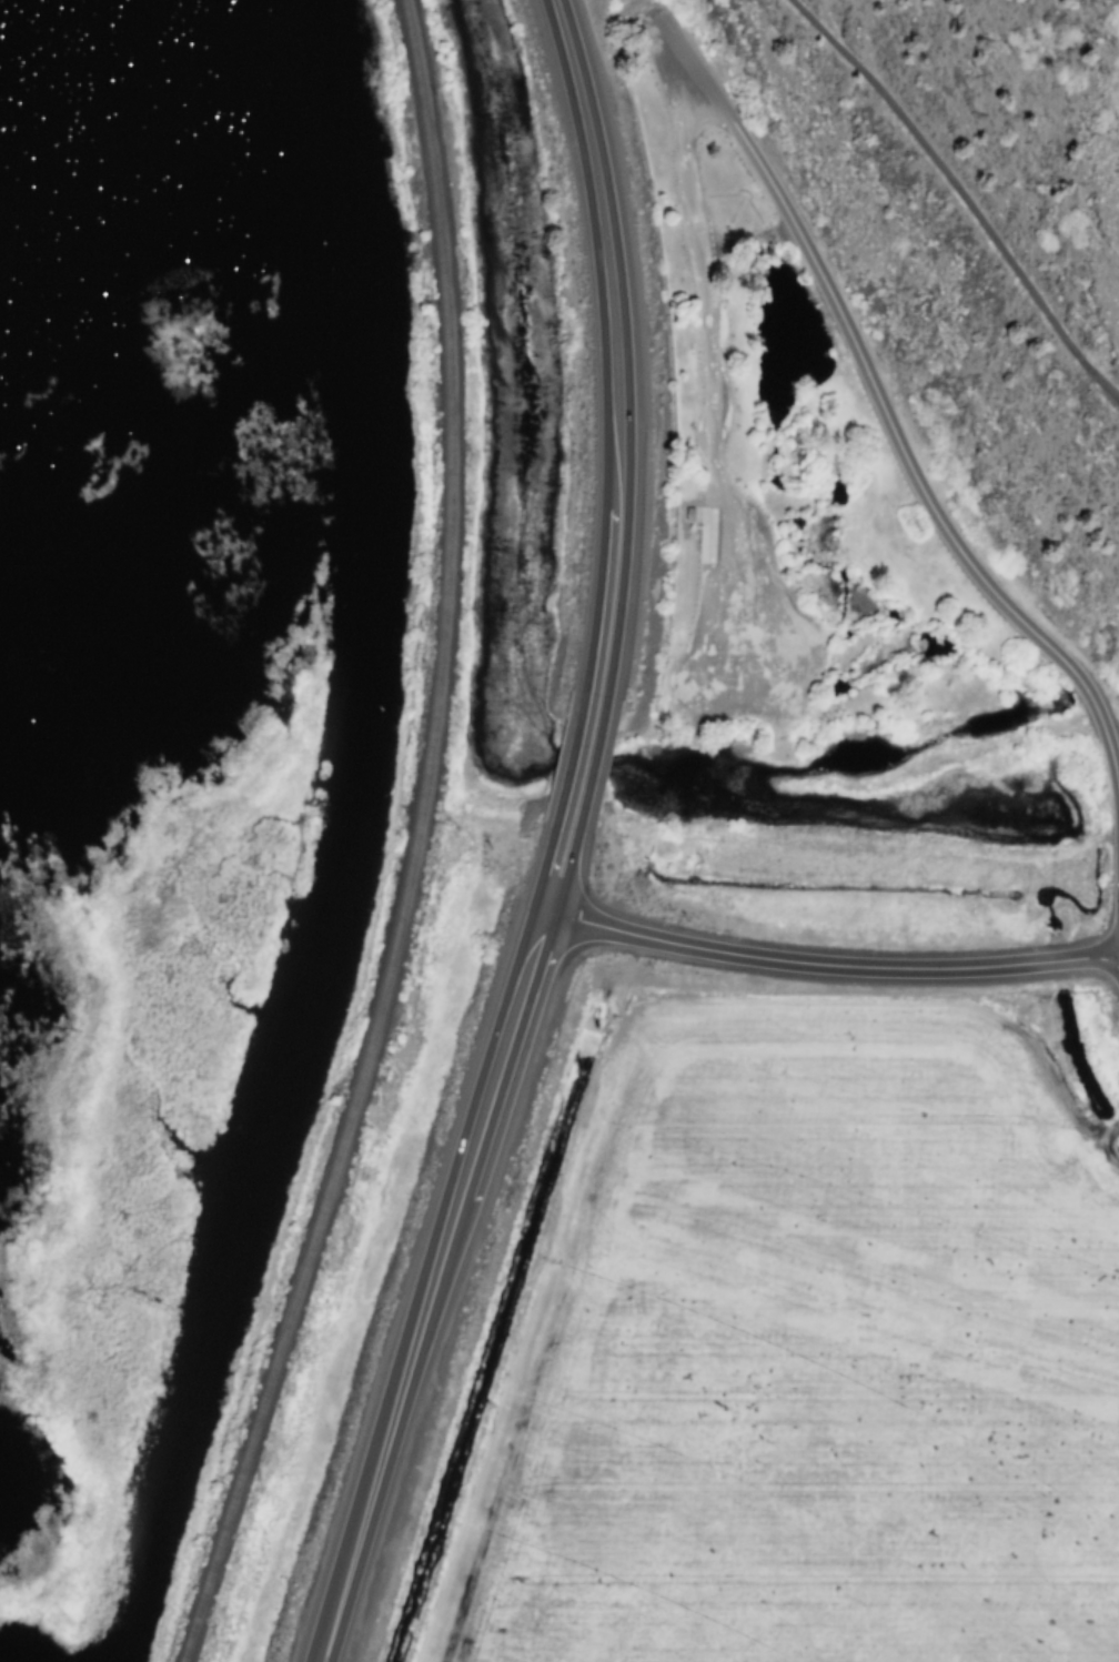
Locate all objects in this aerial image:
road: (656, 8)
road: (965, 195)
road: (612, 354)
road: (887, 416)
road: (578, 762)
railway: (412, 844)
road: (827, 960)
road: (444, 1237)
crop: (808, 1332)

